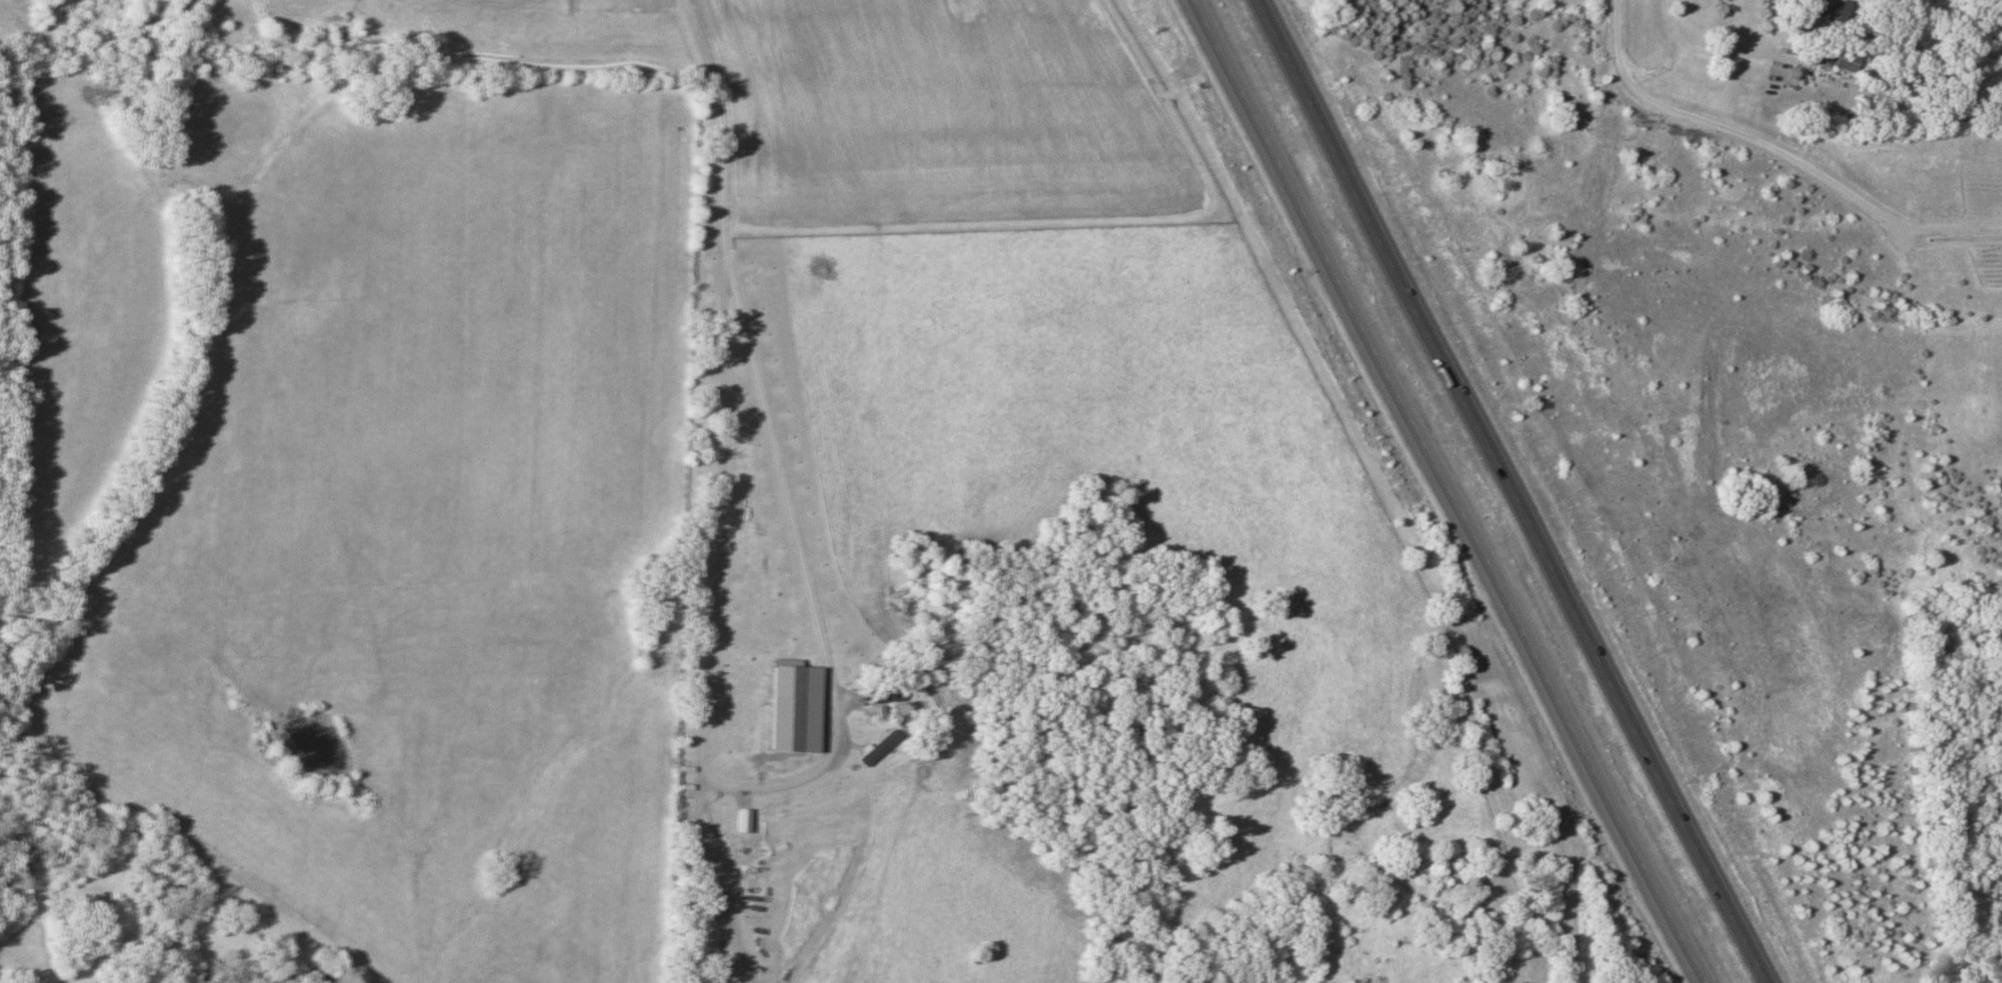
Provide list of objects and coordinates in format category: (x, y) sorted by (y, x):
building: (1817, 5)
road: (1824, 37)
road: (1684, 47)
road: (714, 126)
road: (1773, 151)
road: (1450, 491)
road: (1521, 491)
road: (766, 789)

